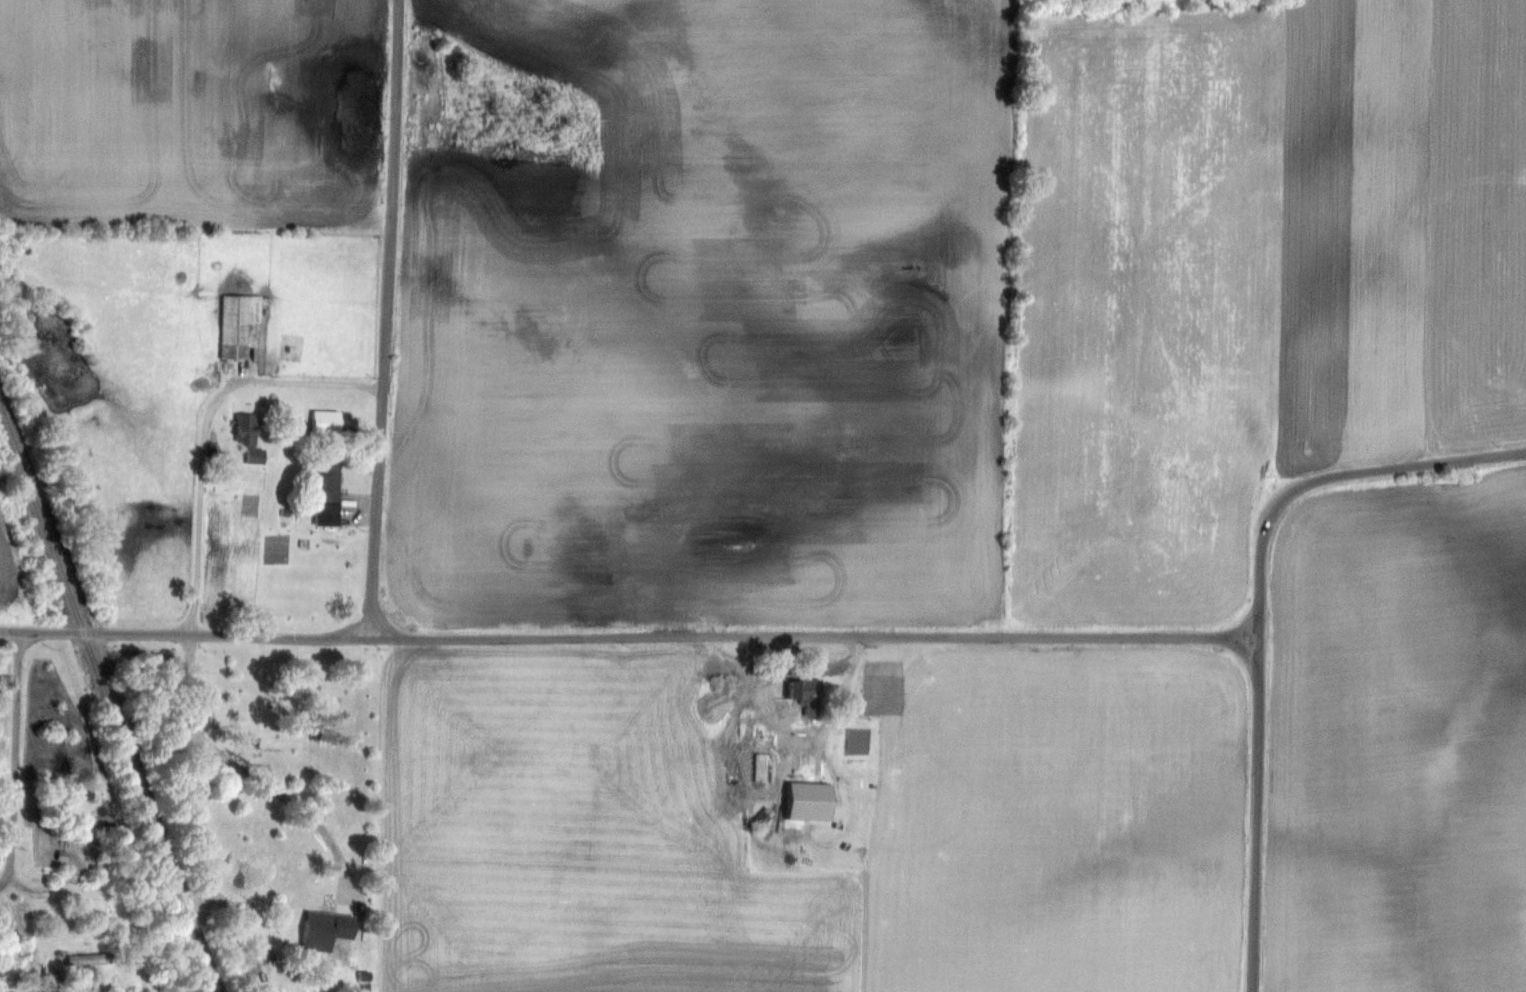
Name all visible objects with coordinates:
road: (387, 320)
building: (240, 325)
road: (212, 432)
building: (258, 448)
road: (1331, 478)
building: (331, 481)
road: (630, 640)
building: (812, 698)
railway: (108, 707)
road: (18, 756)
building: (770, 772)
road: (261, 779)
building: (812, 803)
building: (93, 806)
road: (1258, 815)
road: (3, 882)
building: (329, 930)
building: (89, 960)

